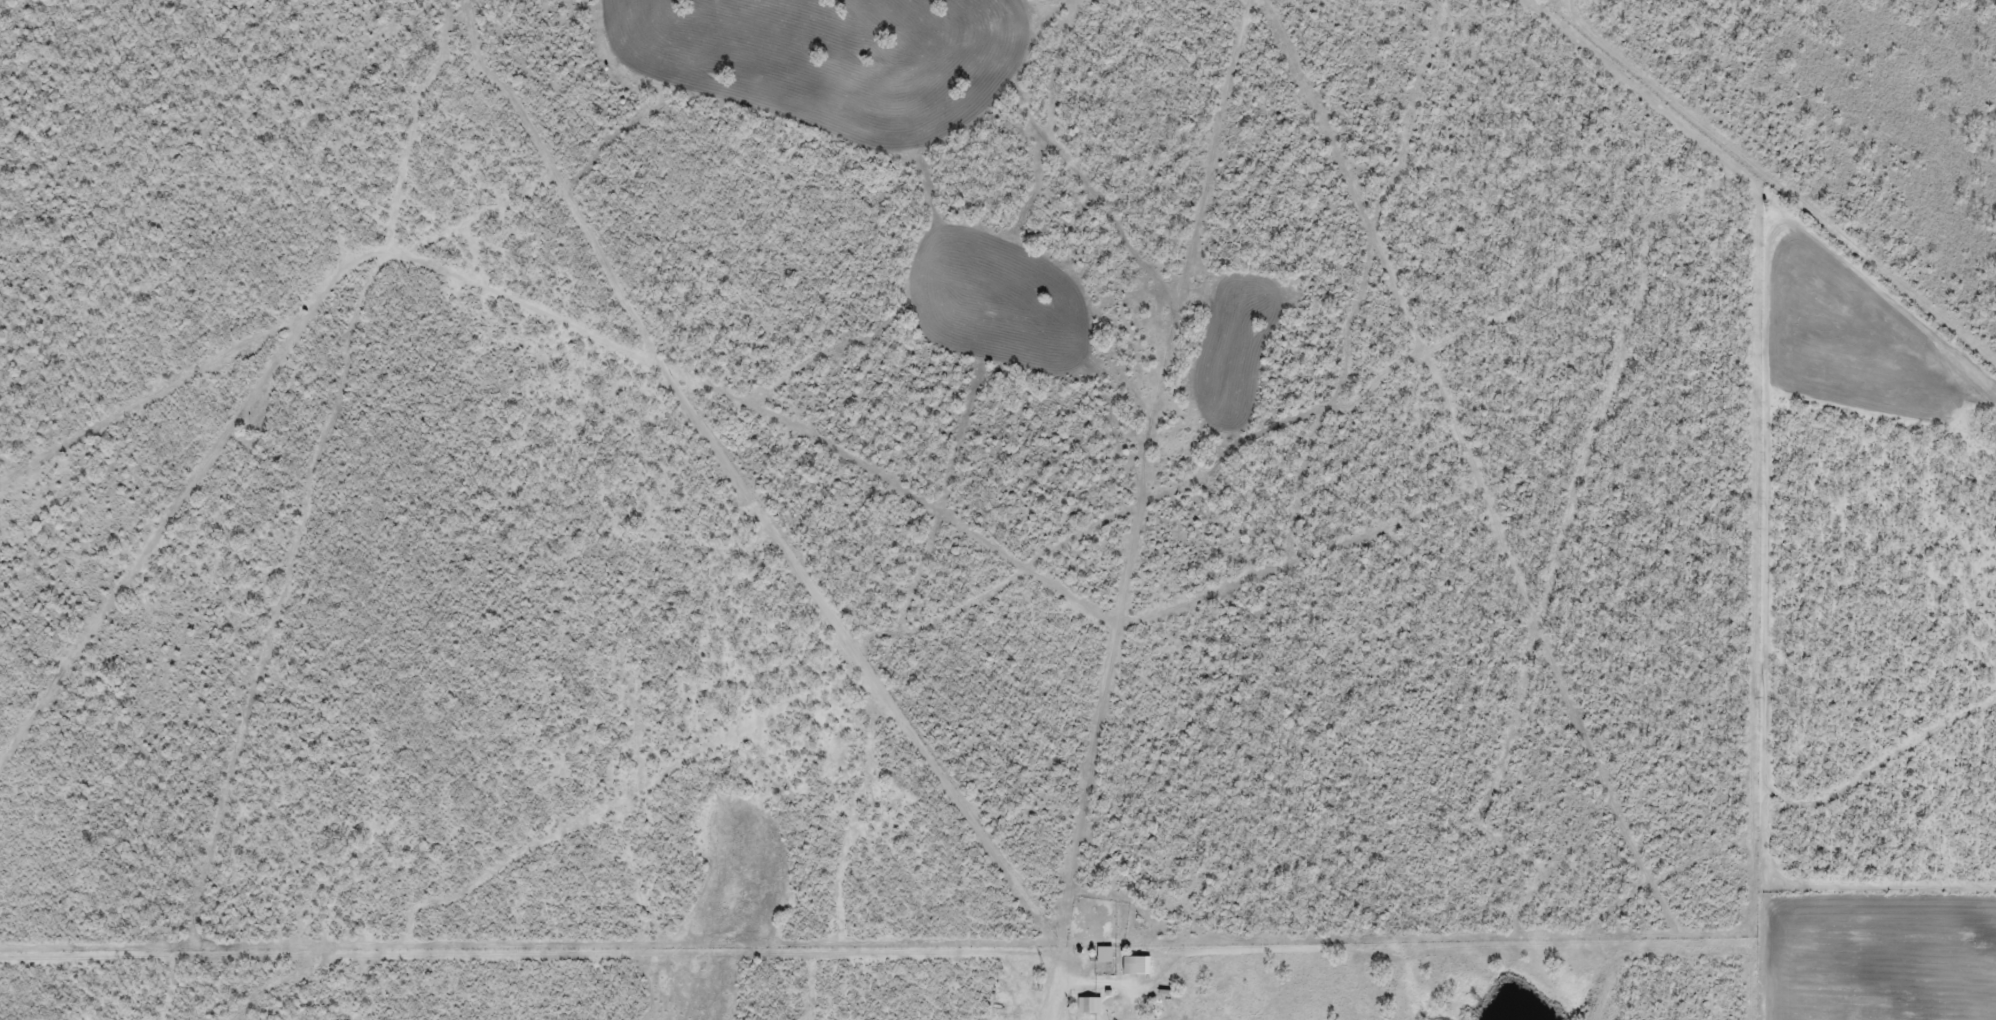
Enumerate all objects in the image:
building: (1136, 967)
road: (1058, 988)
building: (1089, 1007)

